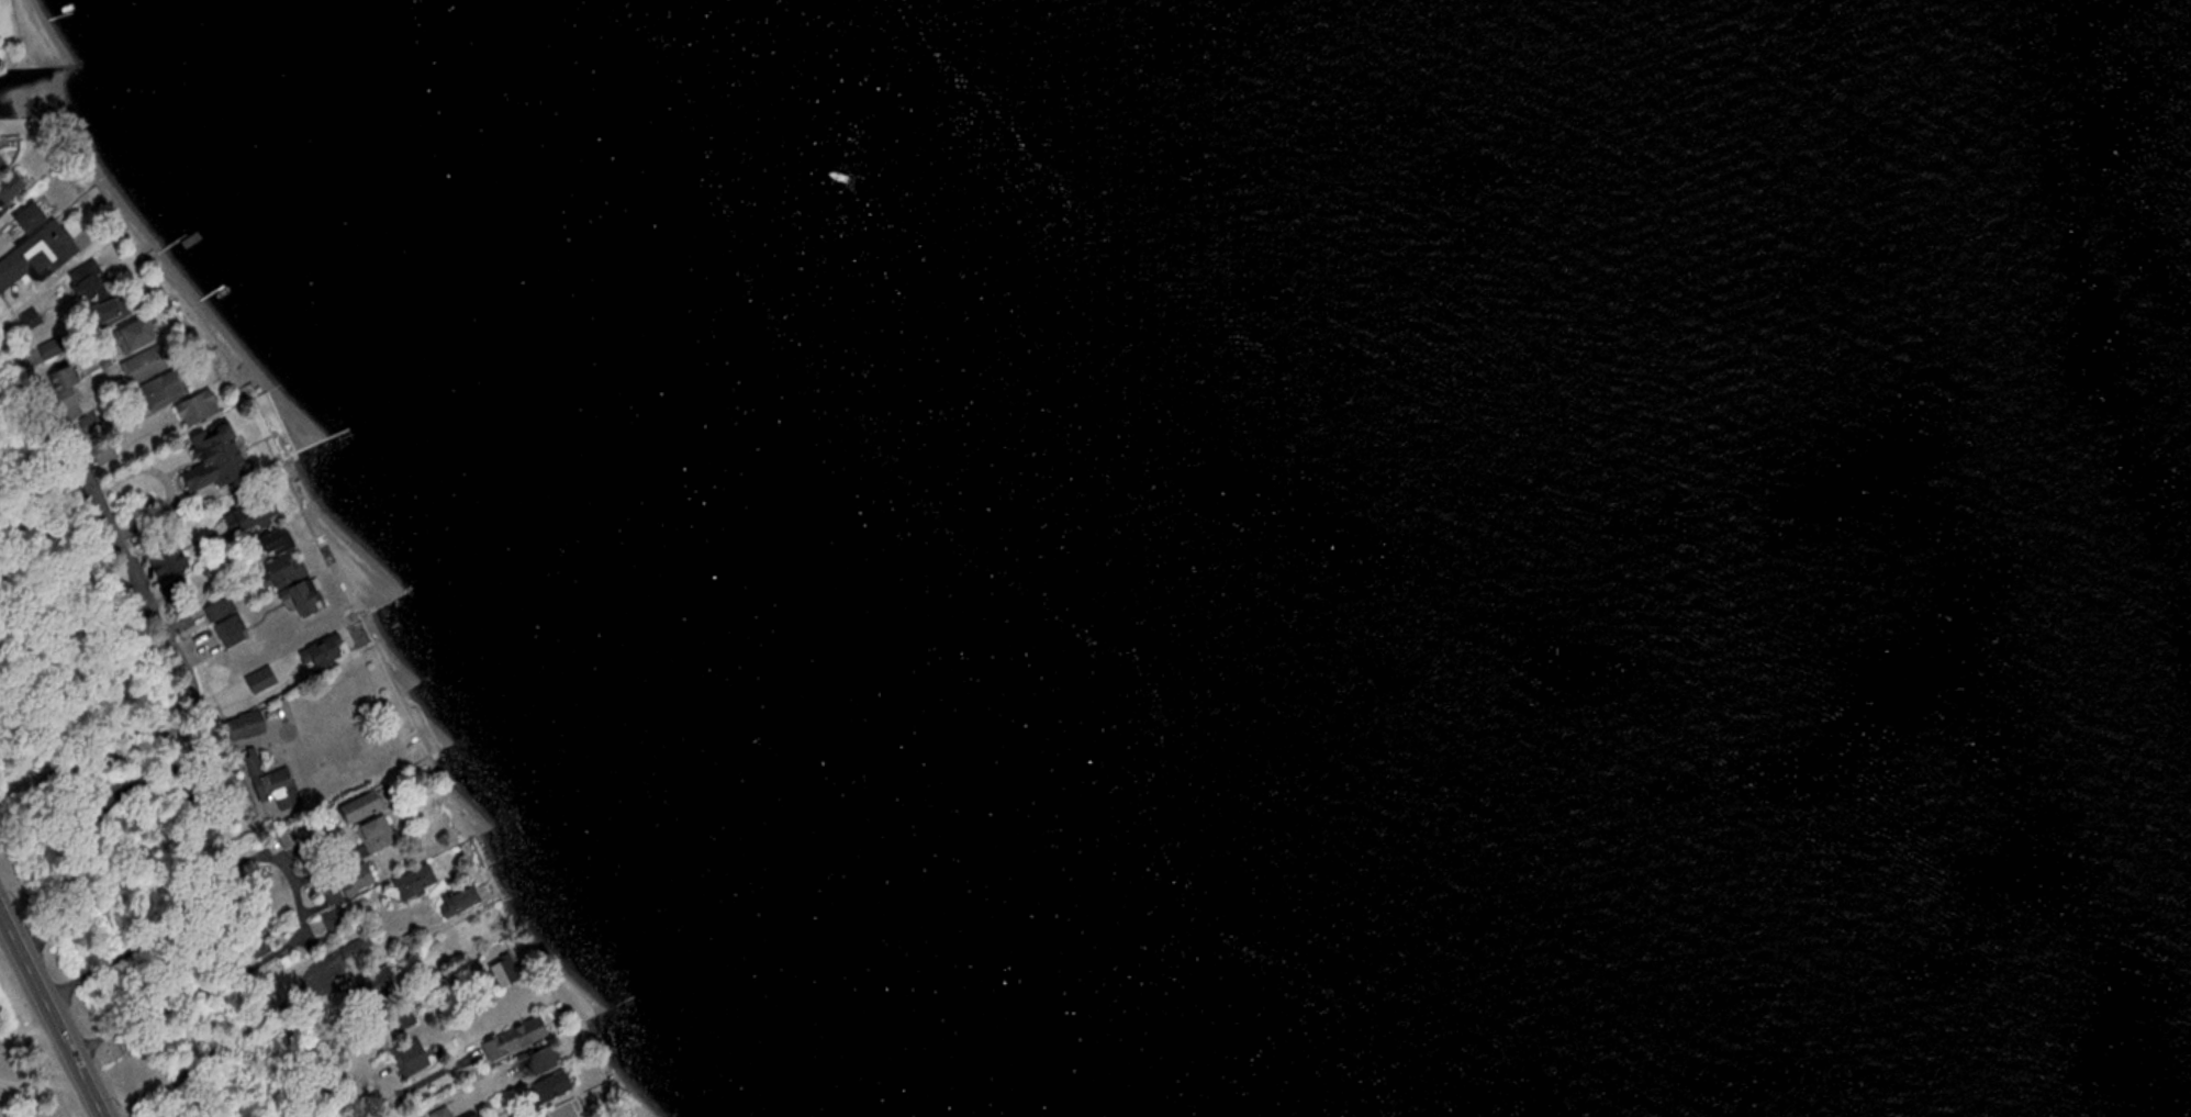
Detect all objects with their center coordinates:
building: (5, 191)
building: (22, 217)
building: (40, 245)
building: (83, 282)
building: (101, 313)
building: (27, 321)
building: (125, 335)
building: (150, 379)
building: (62, 381)
building: (192, 409)
building: (101, 454)
building: (204, 461)
building: (242, 517)
building: (160, 561)
building: (284, 584)
road: (158, 614)
building: (224, 624)
building: (316, 654)
building: (250, 680)
building: (241, 728)
building: (270, 786)
building: (353, 809)
building: (370, 836)
building: (407, 883)
building: (339, 886)
building: (455, 903)
building: (355, 950)
building: (499, 972)
road: (52, 1014)
building: (402, 1018)
road: (26, 1026)
building: (508, 1040)
building: (407, 1060)
building: (545, 1090)
building: (566, 1109)
building: (440, 1114)
building: (469, 1116)

